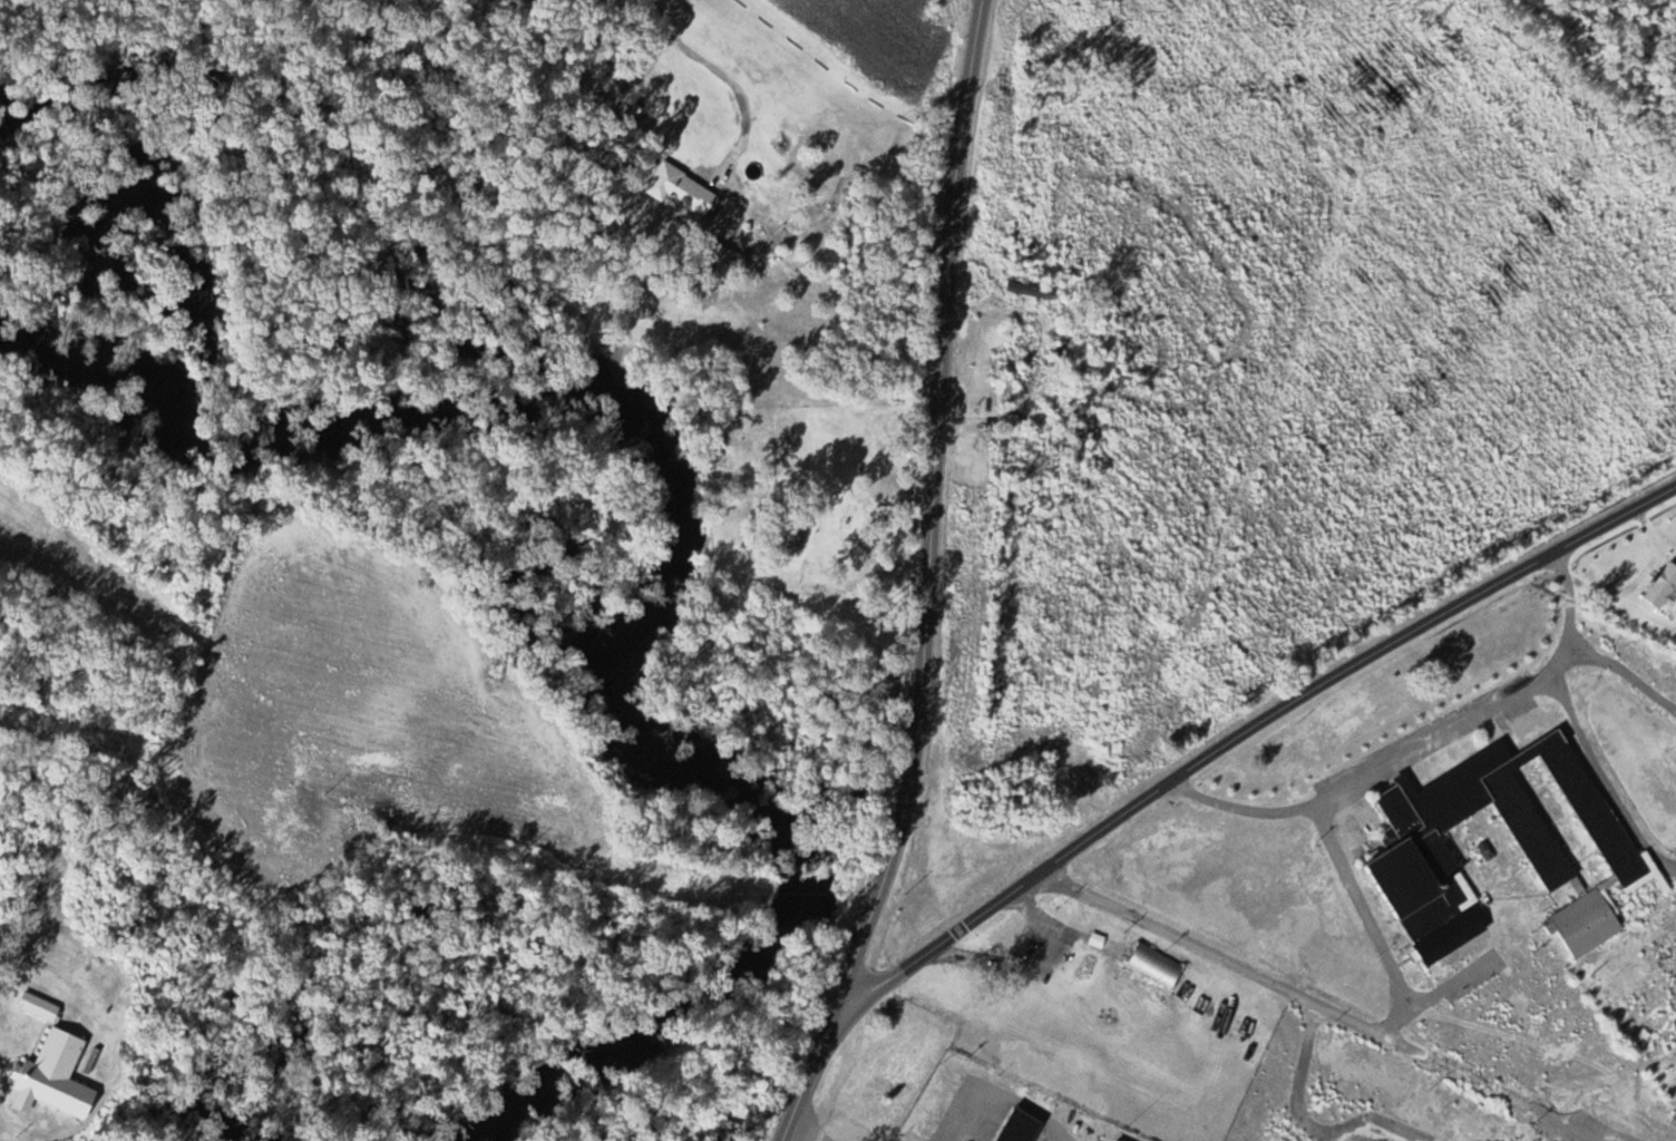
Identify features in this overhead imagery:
road: (732, 75)
building: (680, 187)
building: (1053, 372)
river: (662, 575)
road: (928, 581)
building: (1664, 587)
road: (1245, 732)
building: (1089, 771)
building: (1417, 840)
building: (1586, 924)
building: (1157, 965)
road: (1325, 1002)
building: (40, 1007)
building: (55, 1077)
building: (1021, 1127)
building: (1118, 1140)

